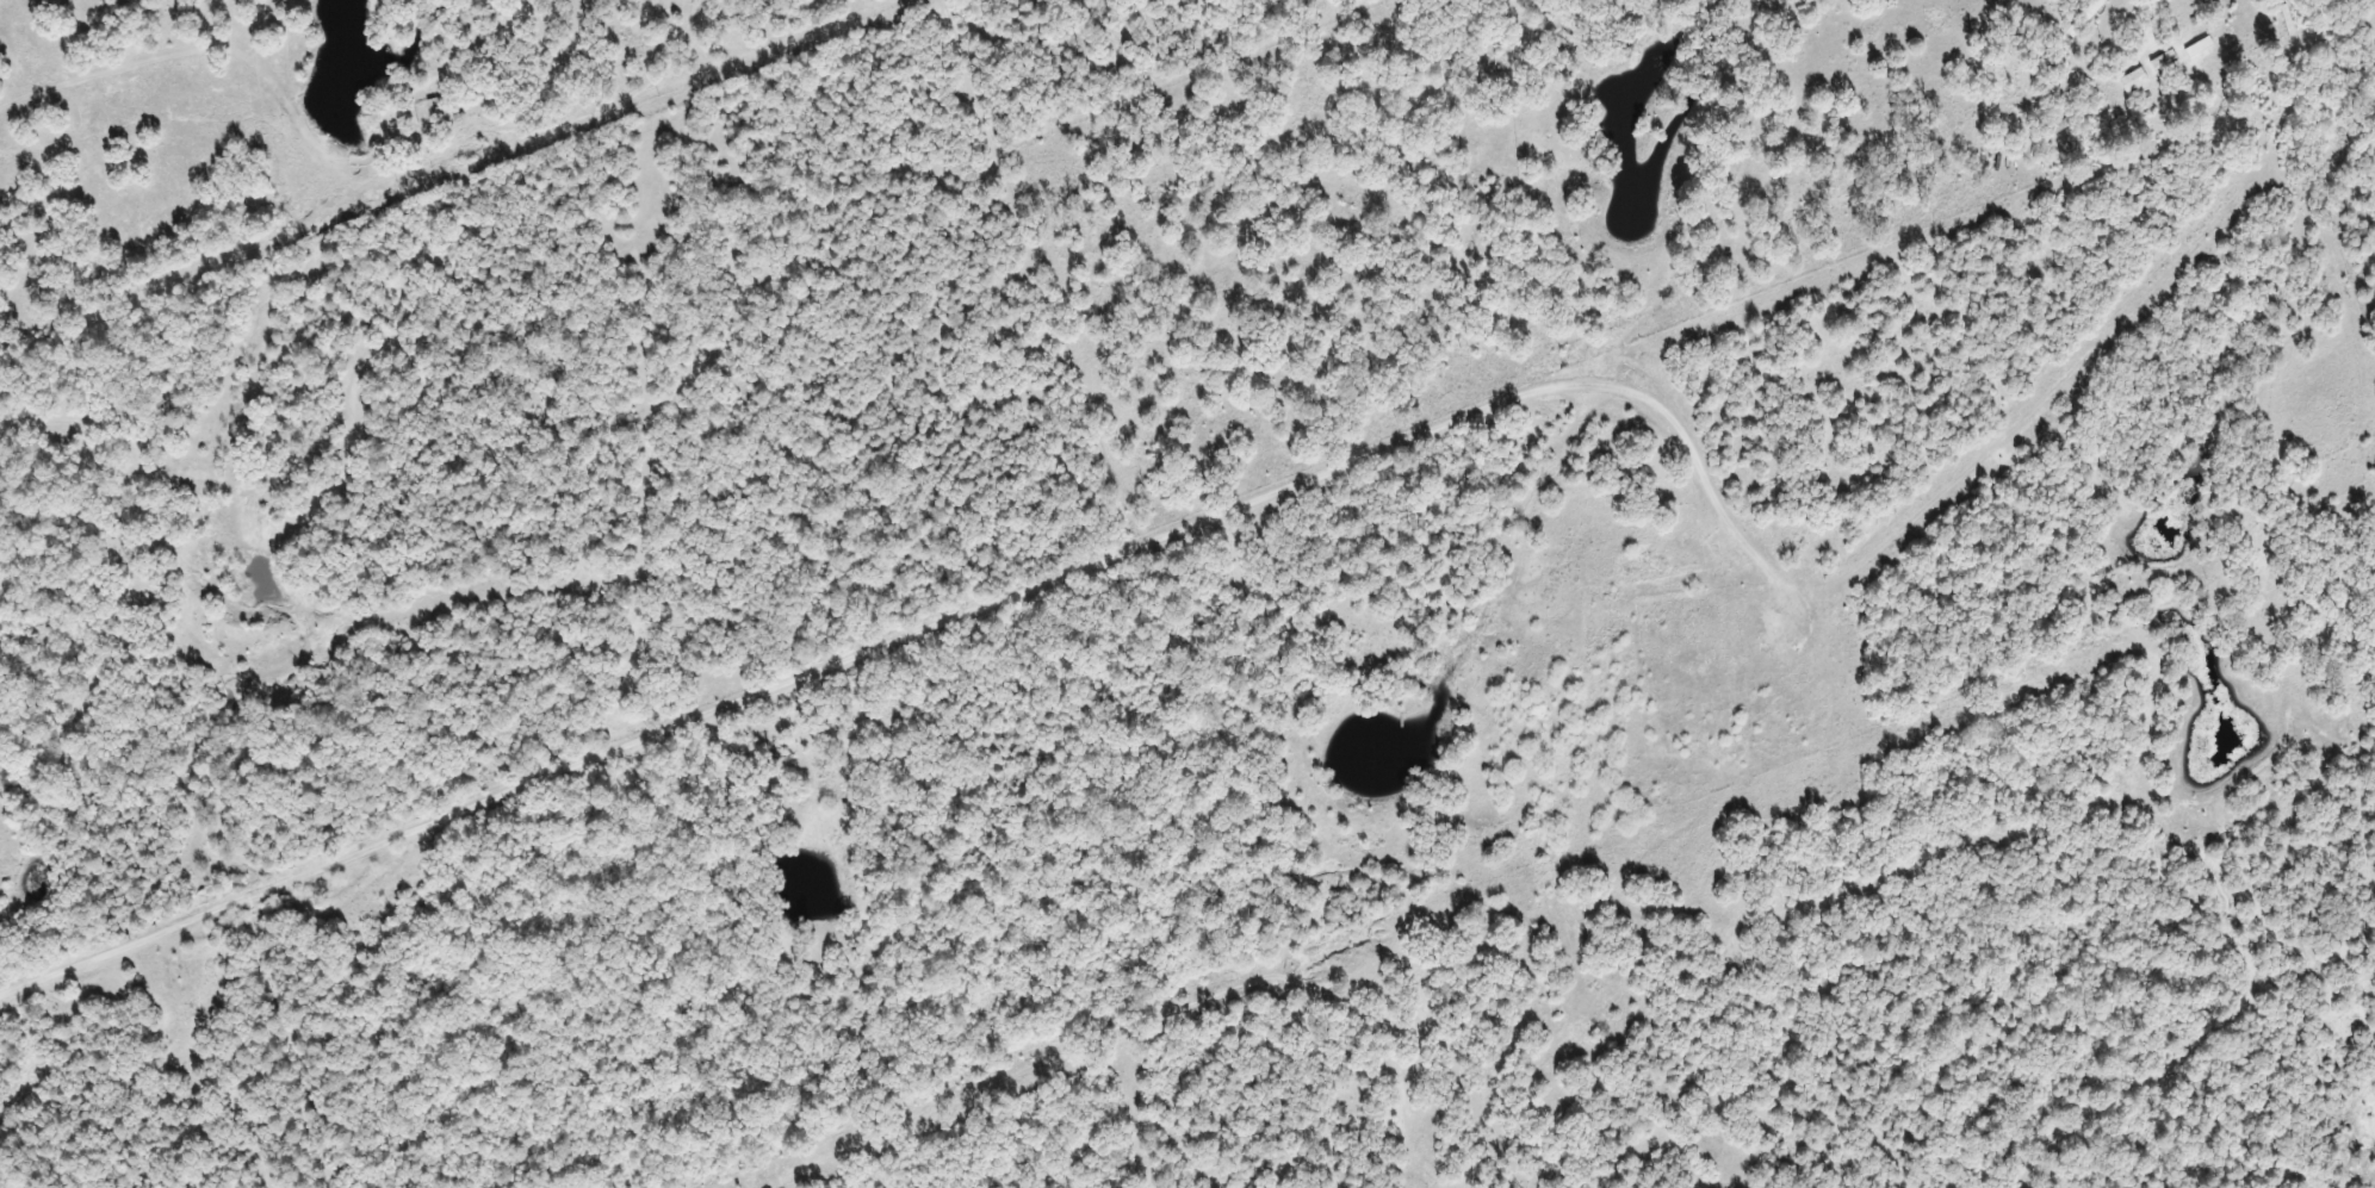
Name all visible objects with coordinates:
building: (2073, 15)
building: (2189, 45)
building: (2154, 62)
building: (2123, 80)
building: (439, 108)
road: (1126, 523)

